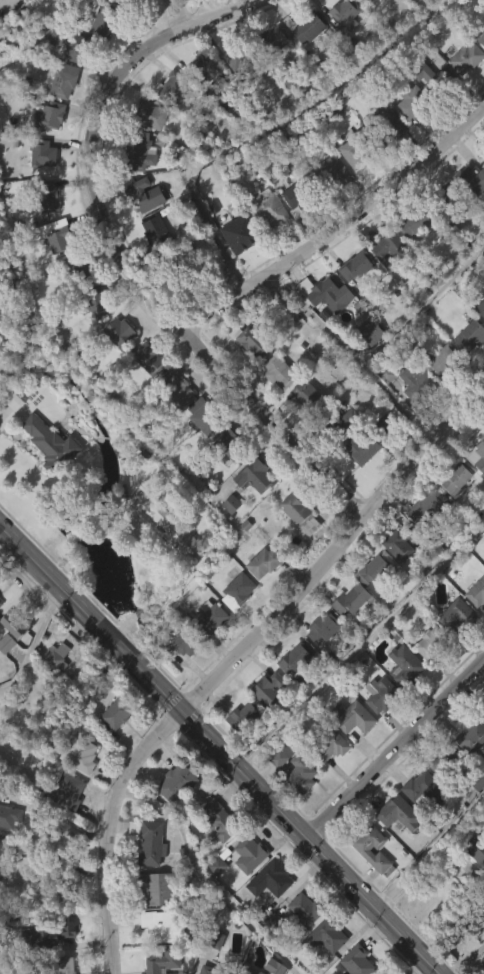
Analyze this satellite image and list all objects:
building: (2, 1)
building: (215, 1)
building: (367, 1)
building: (375, 1)
building: (390, 5)
building: (344, 13)
road: (183, 14)
building: (120, 17)
building: (106, 19)
building: (369, 23)
building: (308, 26)
building: (481, 35)
building: (276, 39)
building: (73, 43)
building: (342, 47)
building: (99, 54)
building: (468, 57)
building: (246, 59)
building: (301, 61)
road: (135, 64)
building: (481, 66)
building: (271, 72)
building: (208, 73)
building: (66, 80)
building: (434, 80)
building: (177, 87)
building: (231, 92)
building: (460, 93)
building: (414, 101)
building: (204, 104)
building: (424, 111)
building: (152, 114)
building: (50, 116)
building: (171, 120)
building: (388, 124)
building: (407, 136)
building: (360, 149)
building: (138, 150)
building: (45, 153)
building: (384, 155)
building: (331, 174)
building: (472, 180)
building: (350, 186)
building: (38, 187)
building: (145, 193)
building: (50, 194)
building: (301, 196)
building: (446, 197)
building: (325, 206)
building: (267, 211)
building: (461, 218)
building: (416, 221)
road: (341, 224)
building: (140, 229)
building: (158, 230)
building: (243, 233)
building: (292, 233)
building: (56, 235)
building: (394, 244)
building: (265, 247)
building: (410, 256)
building: (150, 262)
building: (185, 264)
building: (358, 266)
building: (235, 268)
building: (81, 269)
building: (53, 270)
building: (383, 281)
building: (324, 294)
building: (353, 301)
building: (96, 304)
building: (77, 305)
building: (481, 308)
building: (323, 328)
building: (121, 331)
building: (374, 332)
building: (90, 337)
building: (252, 338)
building: (479, 342)
building: (151, 358)
road: (217, 361)
building: (114, 366)
building: (368, 367)
building: (466, 370)
building: (279, 372)
building: (248, 374)
building: (419, 383)
building: (179, 389)
building: (145, 393)
building: (438, 393)
building: (310, 396)
building: (272, 405)
building: (410, 414)
building: (206, 416)
building: (342, 420)
building: (171, 421)
building: (296, 427)
building: (52, 444)
building: (229, 445)
building: (362, 447)
building: (200, 450)
building: (339, 455)
building: (478, 455)
building: (222, 475)
building: (257, 475)
building: (45, 477)
building: (458, 479)
building: (356, 481)
building: (475, 489)
building: (430, 508)
building: (251, 510)
building: (301, 512)
building: (451, 513)
building: (177, 532)
building: (226, 538)
building: (423, 541)
building: (402, 542)
building: (295, 548)
road: (144, 557)
building: (266, 562)
building: (171, 566)
building: (377, 572)
building: (394, 582)
building: (240, 591)
building: (476, 592)
building: (258, 596)
building: (353, 599)
building: (1, 603)
road: (141, 613)
building: (460, 615)
building: (212, 619)
building: (356, 620)
building: (233, 625)
building: (474, 625)
road: (122, 626)
building: (324, 627)
building: (14, 629)
building: (182, 641)
building: (435, 644)
road: (32, 645)
road: (362, 646)
building: (453, 649)
building: (207, 653)
building: (56, 656)
road: (238, 659)
building: (296, 662)
building: (318, 662)
building: (9, 663)
building: (177, 677)
building: (427, 677)
building: (270, 690)
building: (53, 691)
building: (289, 692)
building: (385, 696)
building: (400, 699)
building: (481, 710)
building: (118, 714)
building: (357, 719)
building: (250, 720)
building: (376, 728)
building: (473, 736)
building: (331, 746)
building: (111, 748)
road: (220, 749)
building: (239, 750)
building: (347, 750)
road: (396, 750)
building: (81, 754)
building: (448, 761)
building: (297, 768)
building: (469, 771)
building: (325, 779)
building: (178, 783)
building: (277, 789)
building: (427, 789)
building: (0, 795)
building: (68, 795)
building: (297, 809)
building: (401, 814)
building: (8, 816)
building: (172, 816)
road: (61, 817)
building: (223, 820)
building: (417, 821)
building: (64, 823)
building: (150, 841)
building: (477, 846)
building: (395, 847)
building: (5, 850)
building: (366, 851)
building: (251, 854)
building: (216, 855)
road: (431, 855)
road: (55, 856)
building: (1, 876)
building: (147, 877)
building: (273, 878)
road: (208, 880)
building: (368, 883)
building: (245, 887)
building: (159, 888)
building: (477, 889)
building: (308, 909)
building: (266, 913)
building: (165, 925)
building: (55, 933)
building: (329, 934)
building: (214, 938)
building: (299, 942)
road: (463, 959)
building: (359, 961)
building: (167, 962)
building: (66, 965)
building: (321, 966)
building: (211, 967)
building: (253, 970)

